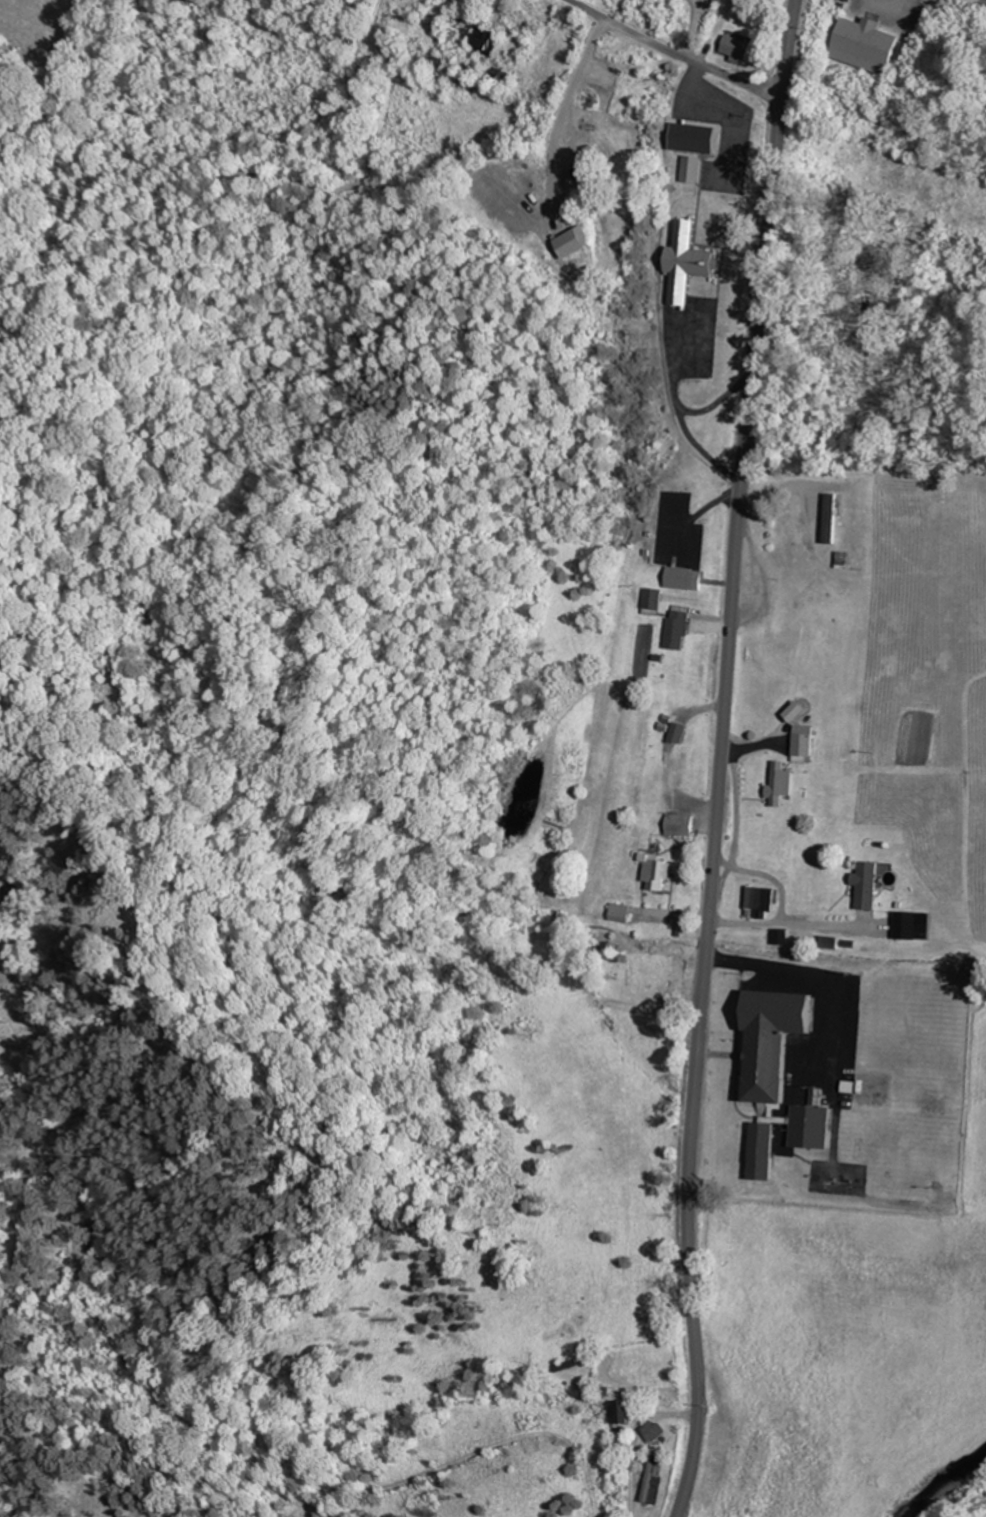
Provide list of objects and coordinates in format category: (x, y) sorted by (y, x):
building: (850, 0)
building: (844, 1)
building: (487, 41)
building: (861, 42)
building: (742, 46)
road: (673, 52)
building: (442, 66)
building: (502, 72)
building: (698, 136)
building: (694, 167)
building: (518, 191)
building: (581, 252)
building: (691, 260)
building: (830, 516)
building: (689, 577)
building: (654, 600)
building: (680, 626)
building: (804, 740)
building: (677, 745)
road: (720, 758)
building: (782, 782)
building: (683, 823)
building: (659, 872)
building: (869, 884)
building: (764, 897)
building: (623, 911)
building: (908, 924)
building: (686, 926)
building: (779, 1043)
building: (766, 1146)
building: (569, 1365)
building: (623, 1412)
building: (656, 1430)
building: (653, 1481)

